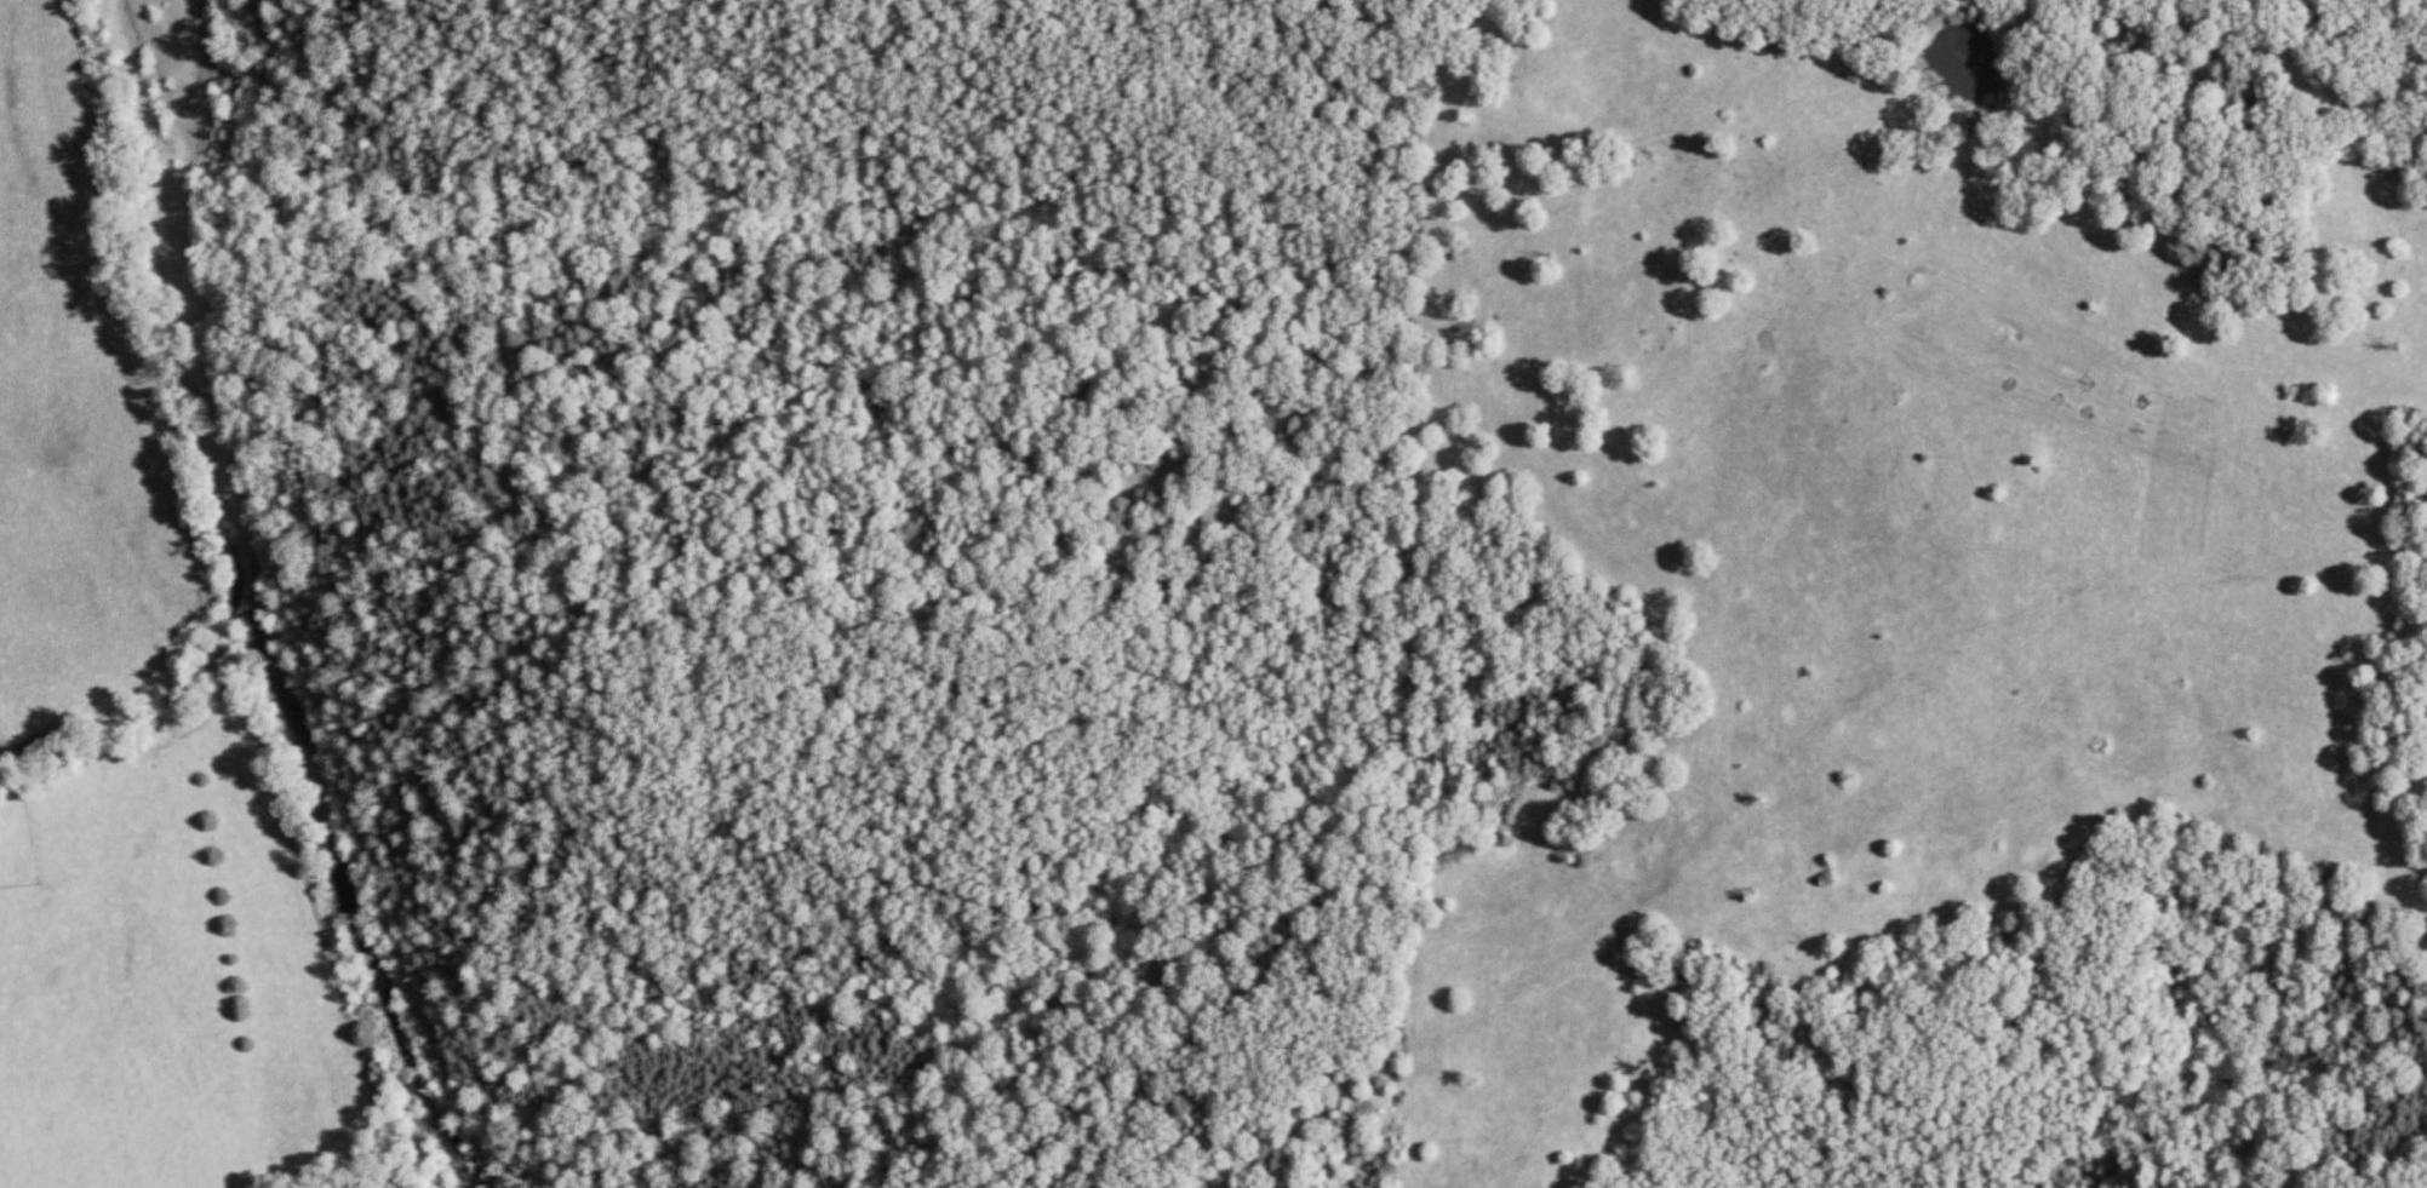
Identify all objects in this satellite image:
river: (264, 603)

